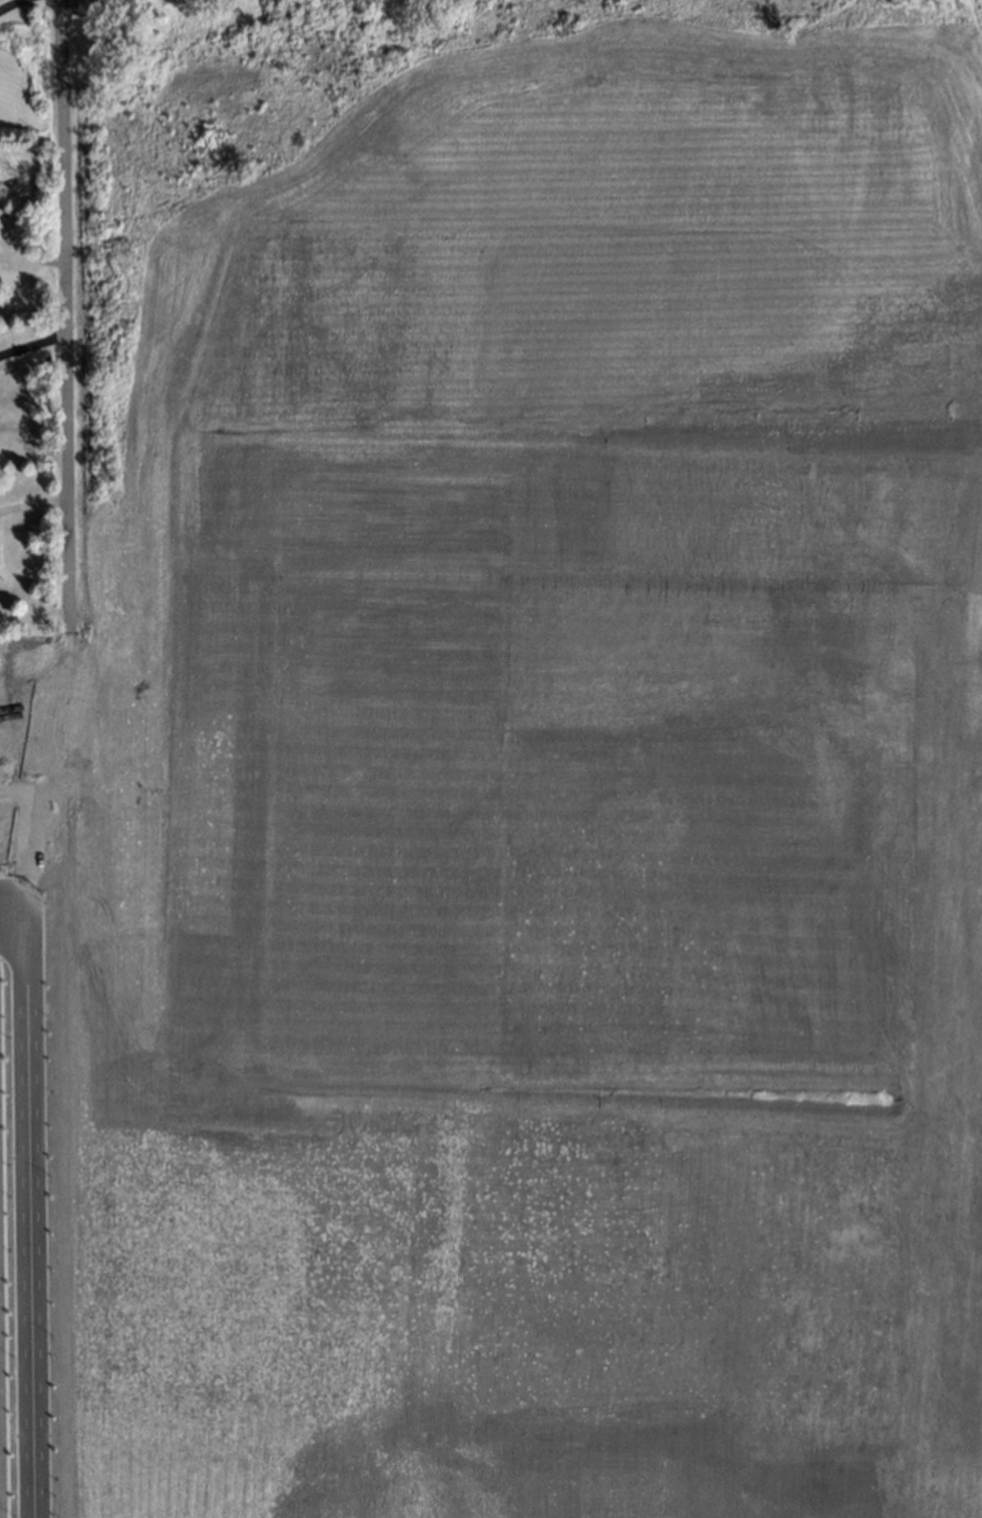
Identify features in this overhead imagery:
road: (6, 2)
road: (58, 312)
road: (29, 343)
building: (834, 687)
road: (24, 1223)
building: (871, 1385)

